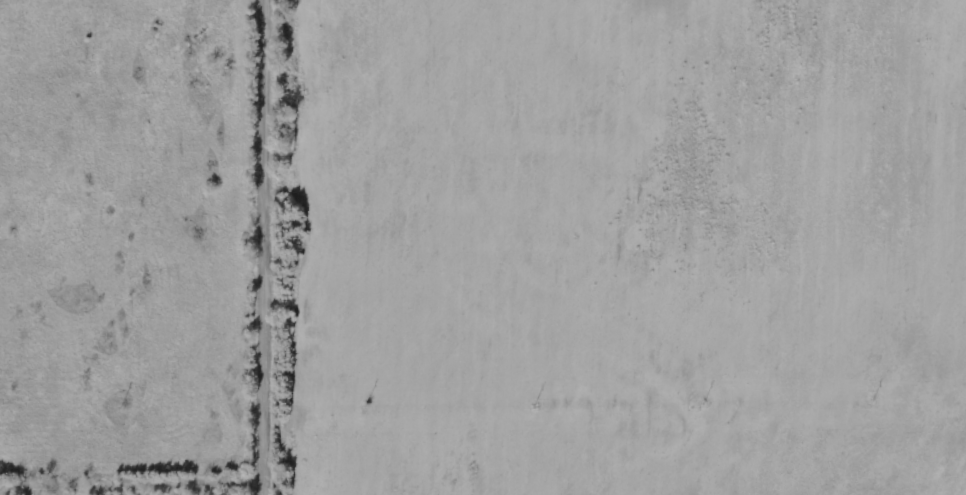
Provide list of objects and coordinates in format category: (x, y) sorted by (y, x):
road: (256, 247)

